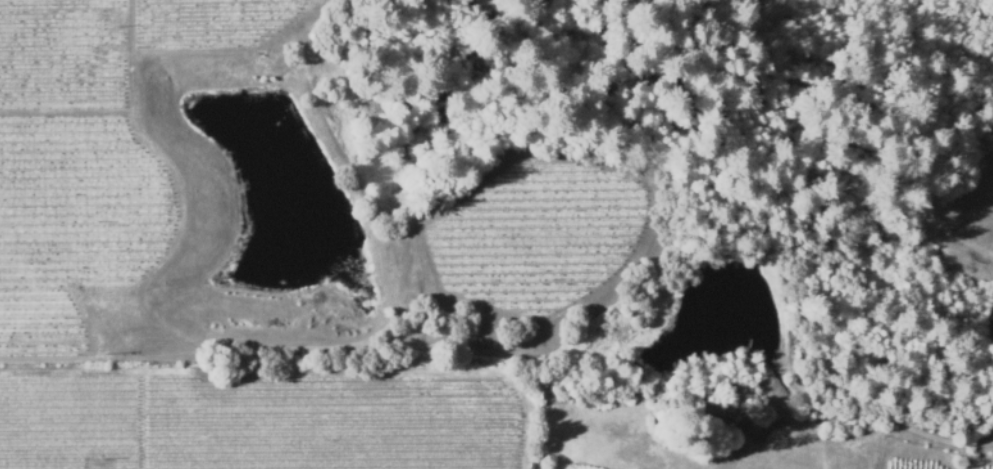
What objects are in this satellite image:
building: (725, 416)
building: (742, 422)
building: (532, 466)

